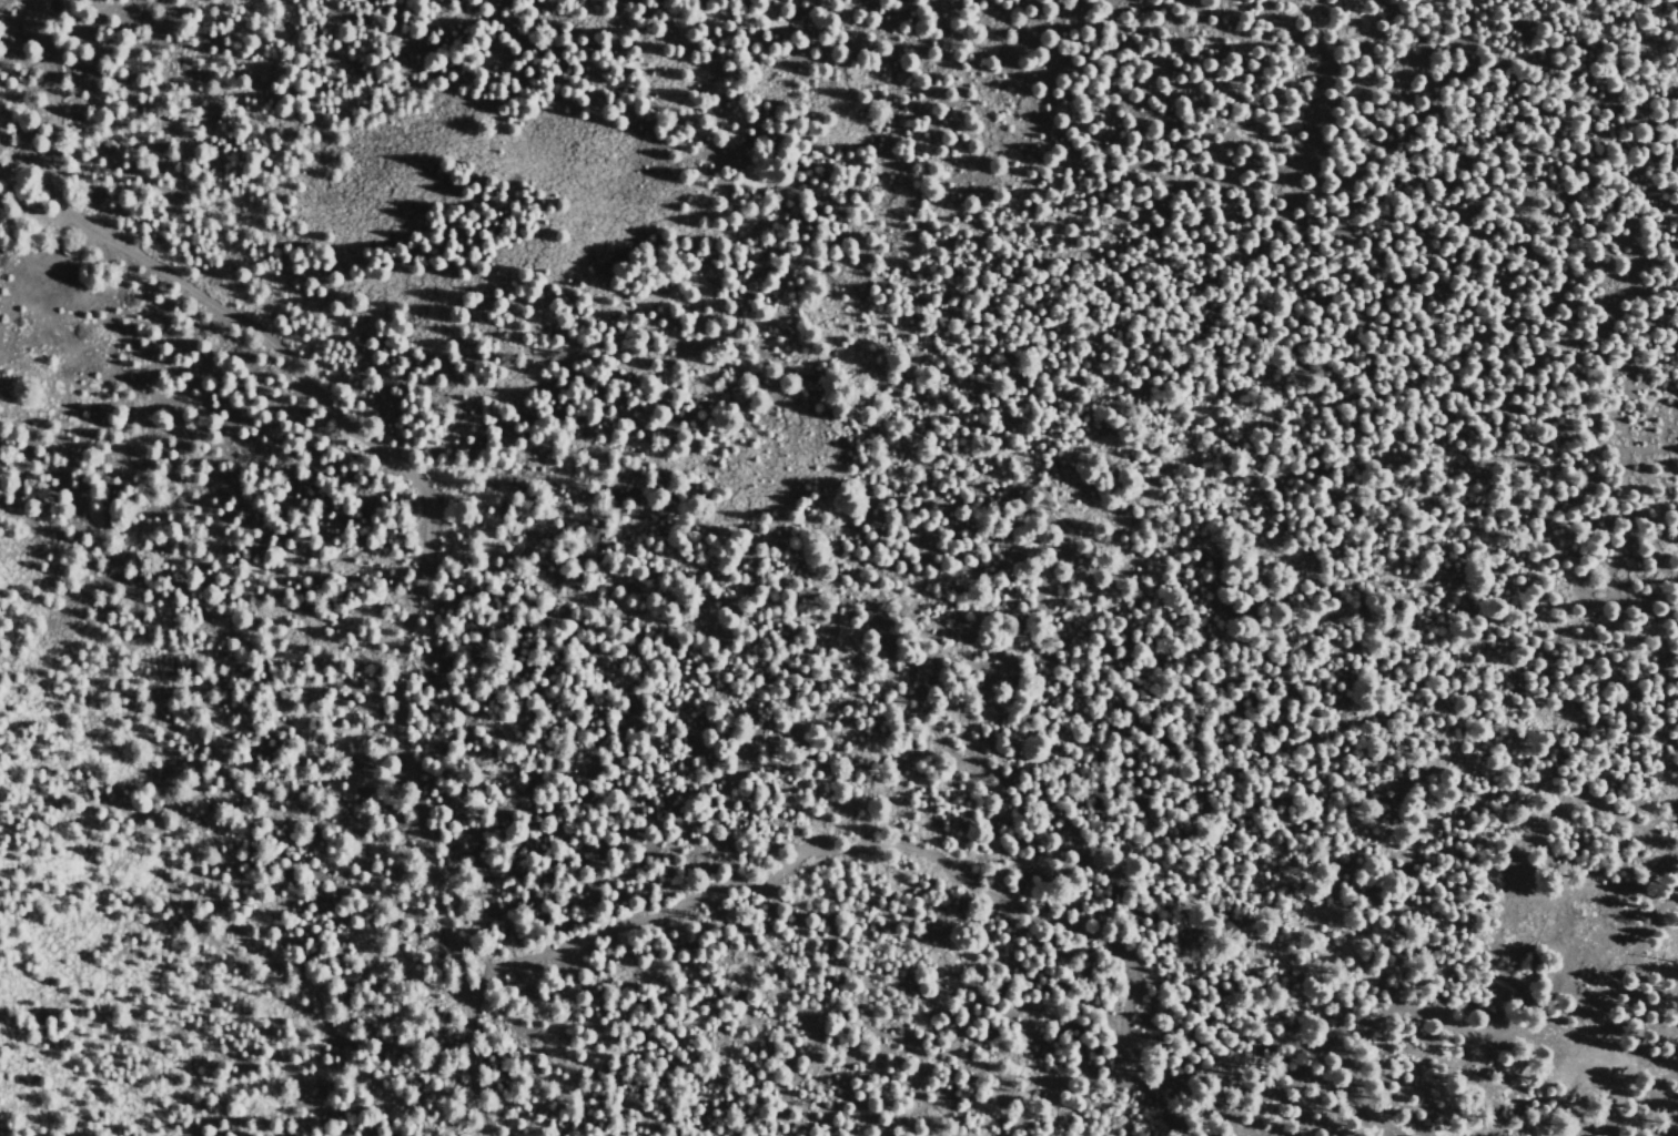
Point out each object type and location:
road: (419, 485)

